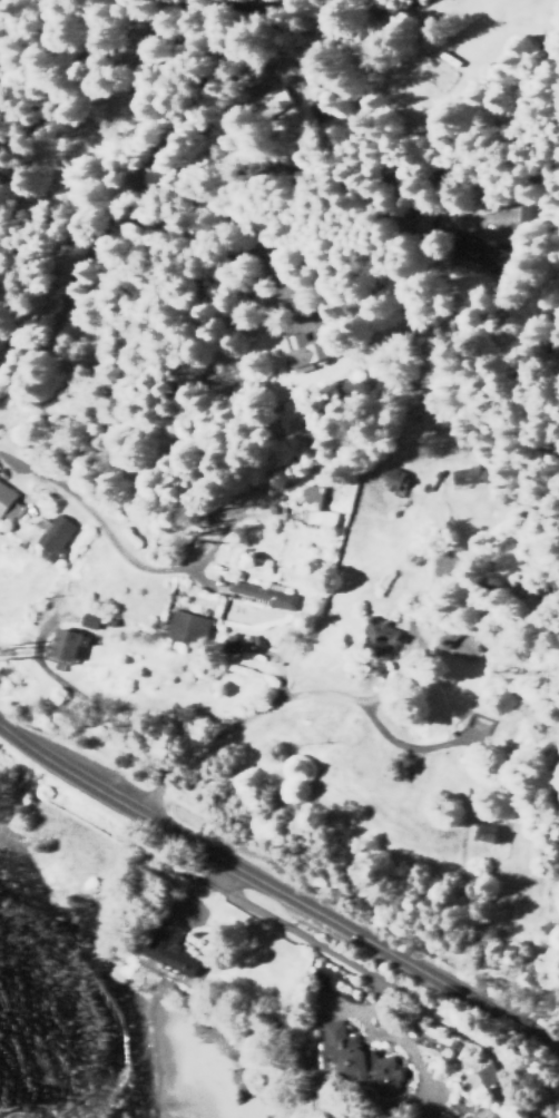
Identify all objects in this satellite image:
road: (133, 184)
building: (303, 353)
building: (8, 502)
building: (316, 506)
building: (57, 537)
building: (263, 595)
building: (89, 619)
building: (188, 628)
building: (68, 645)
road: (372, 705)
road: (114, 714)
road: (242, 720)
road: (277, 887)
building: (175, 959)
building: (361, 1057)
building: (487, 1075)

